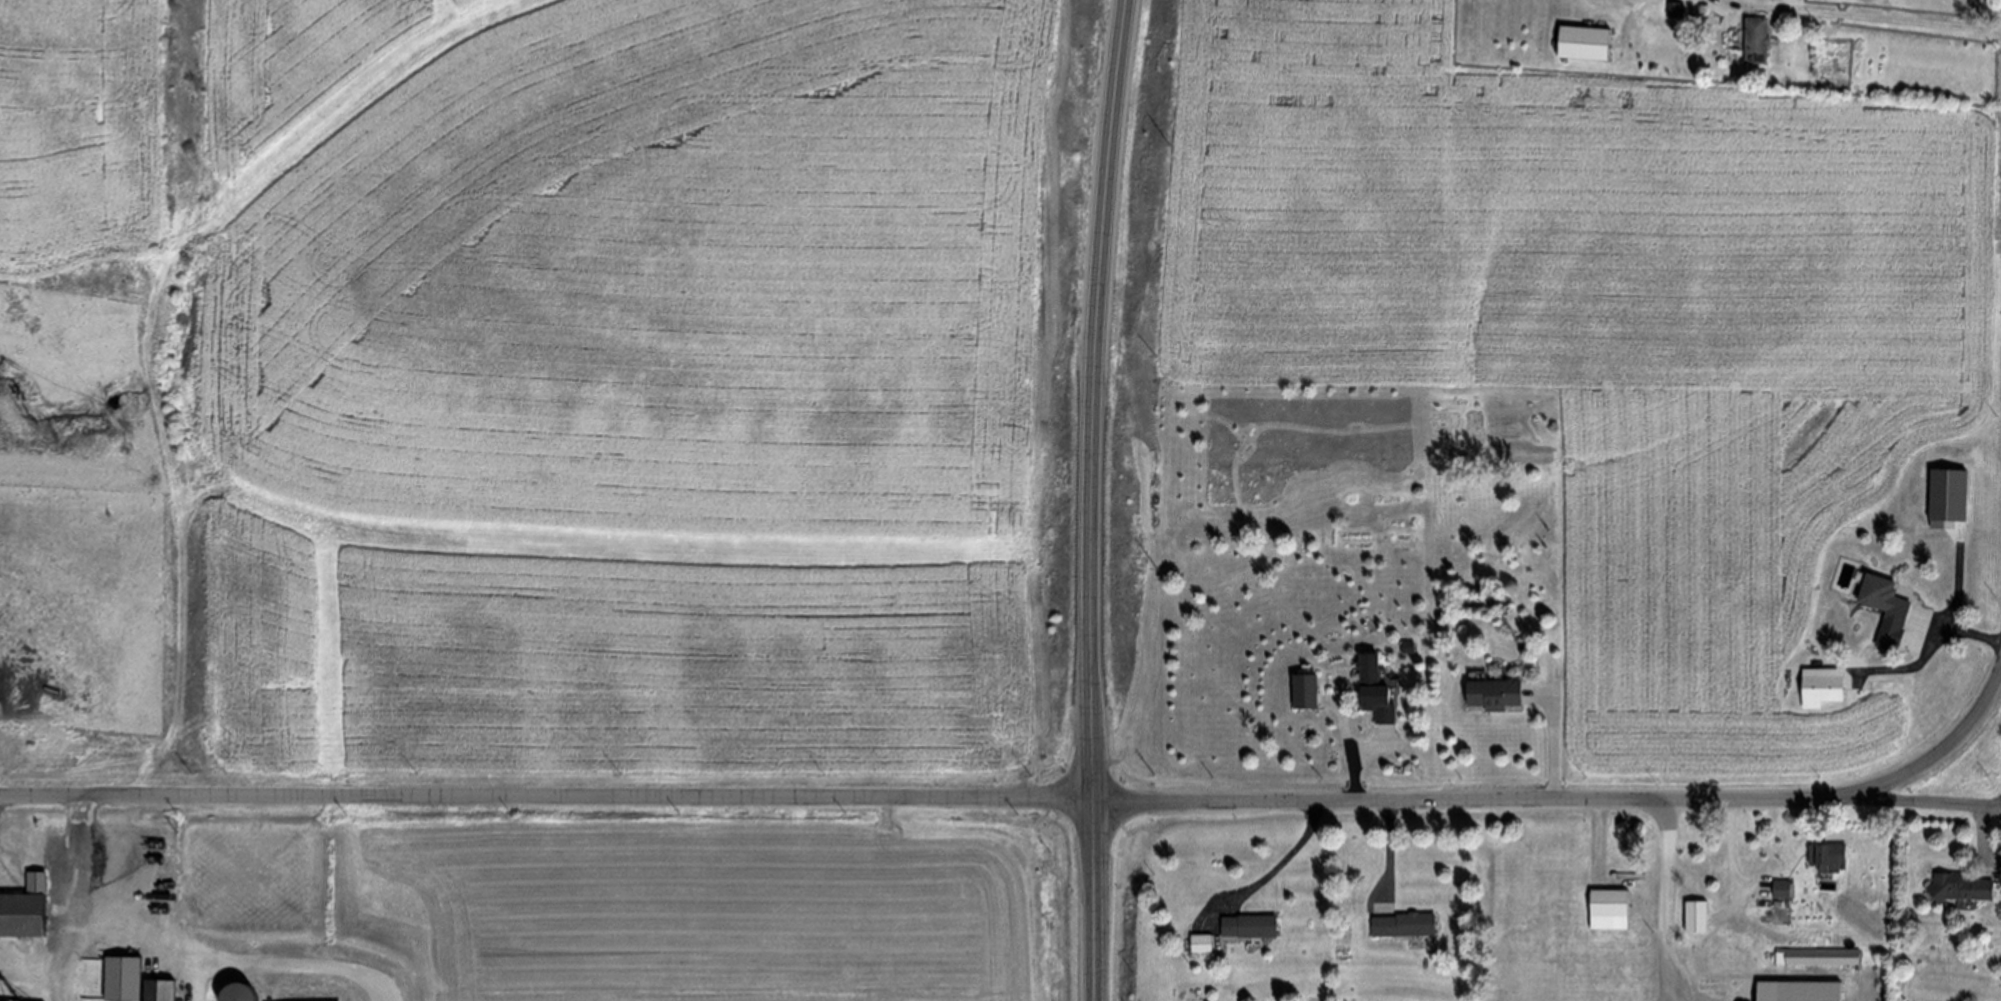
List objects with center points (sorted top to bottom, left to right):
road: (1758, 3)
road: (1780, 3)
building: (1676, 9)
road: (1891, 17)
building: (1757, 38)
building: (1584, 42)
road: (327, 125)
building: (1948, 496)
road: (1098, 499)
road: (1959, 588)
building: (1886, 608)
building: (1410, 646)
road: (1927, 653)
building: (1823, 686)
building: (1305, 691)
building: (1376, 691)
building: (1495, 693)
road: (1349, 738)
road: (1555, 738)
road: (1373, 748)
road: (546, 793)
road: (1571, 798)
road: (1918, 800)
road: (1985, 839)
road: (1012, 846)
road: (1735, 852)
road: (1391, 856)
building: (1828, 856)
road: (1276, 867)
building: (1959, 887)
building: (1782, 889)
road: (74, 897)
road: (1668, 899)
building: (24, 908)
building: (1610, 910)
building: (1696, 916)
building: (1405, 924)
building: (1251, 925)
building: (1201, 943)
building: (1774, 958)
building: (122, 978)
building: (159, 990)
building: (1800, 991)

